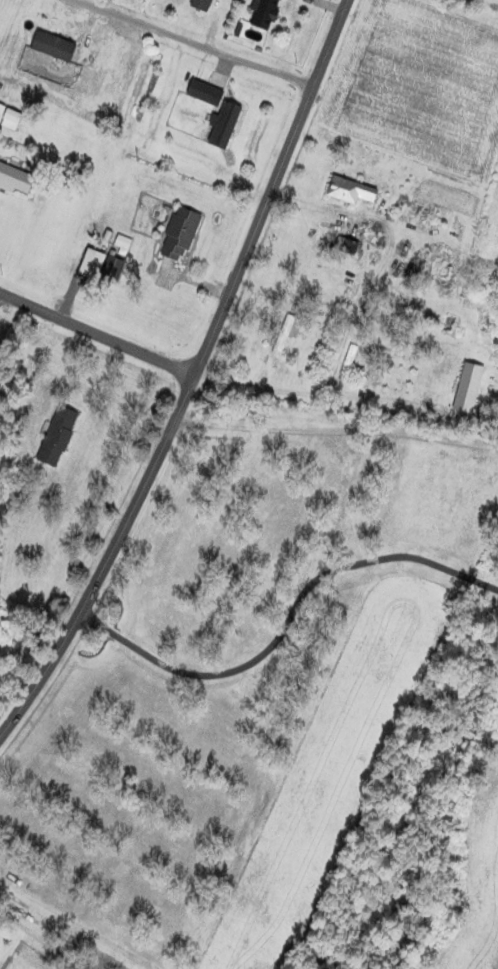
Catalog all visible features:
building: (204, 2)
building: (265, 14)
building: (1, 110)
building: (225, 124)
building: (16, 176)
building: (351, 190)
building: (418, 218)
building: (181, 233)
building: (351, 246)
building: (117, 259)
building: (440, 273)
road: (97, 332)
building: (284, 334)
building: (349, 362)
road: (197, 369)
building: (469, 387)
park: (209, 403)
building: (59, 436)

